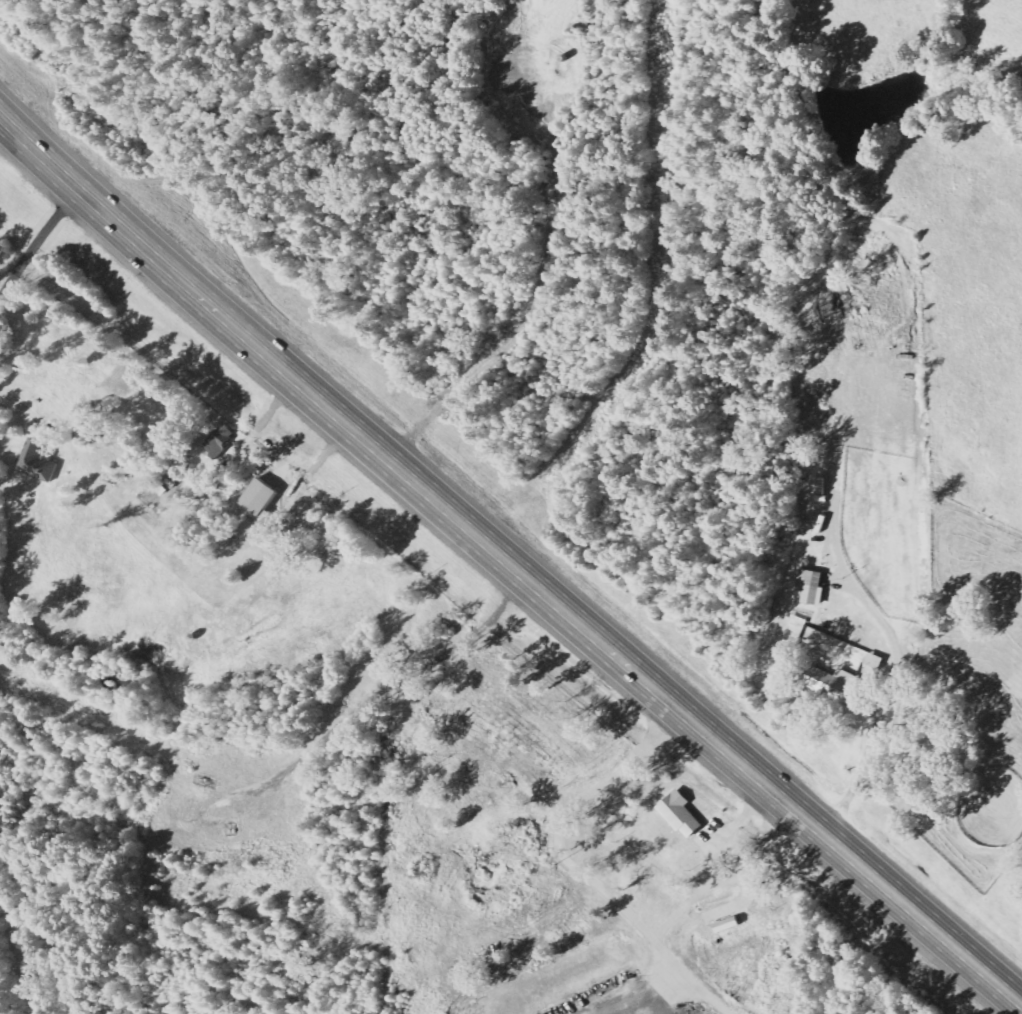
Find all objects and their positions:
road: (38, 241)
building: (226, 438)
building: (42, 462)
building: (265, 497)
road: (508, 562)
road: (459, 646)
building: (837, 685)
building: (685, 814)

